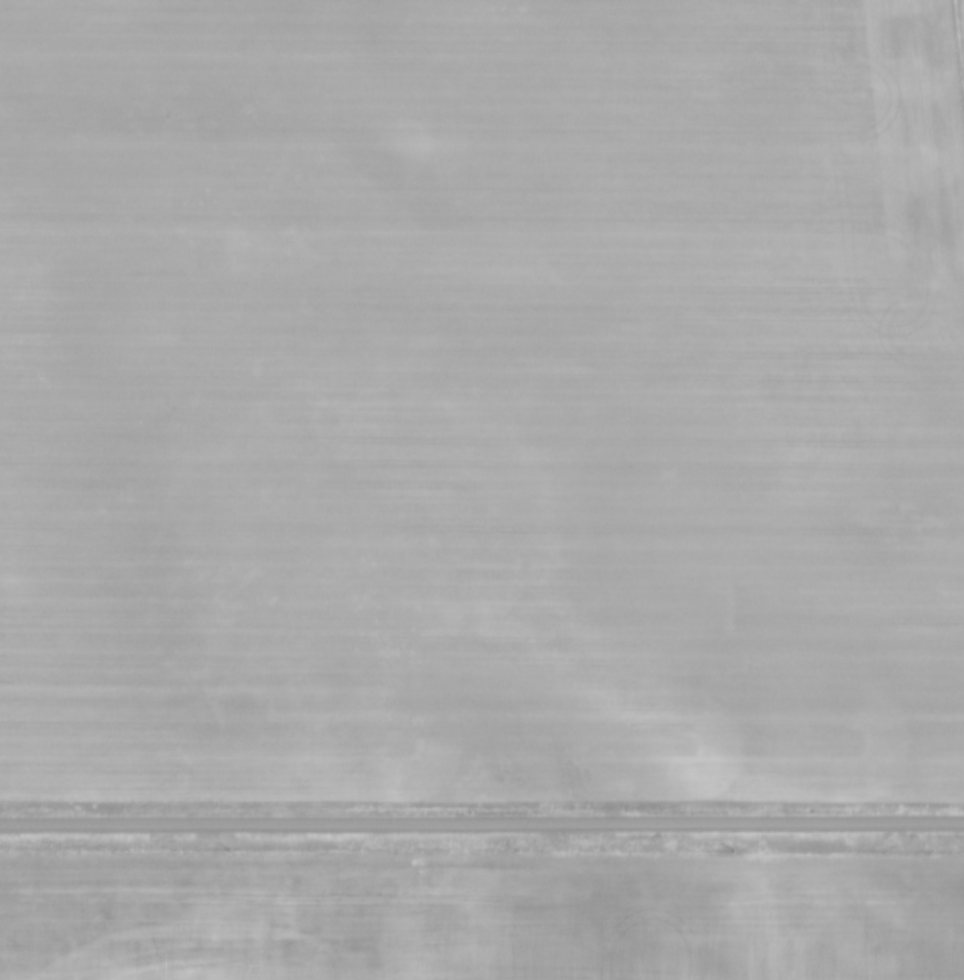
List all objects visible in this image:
road: (481, 827)

